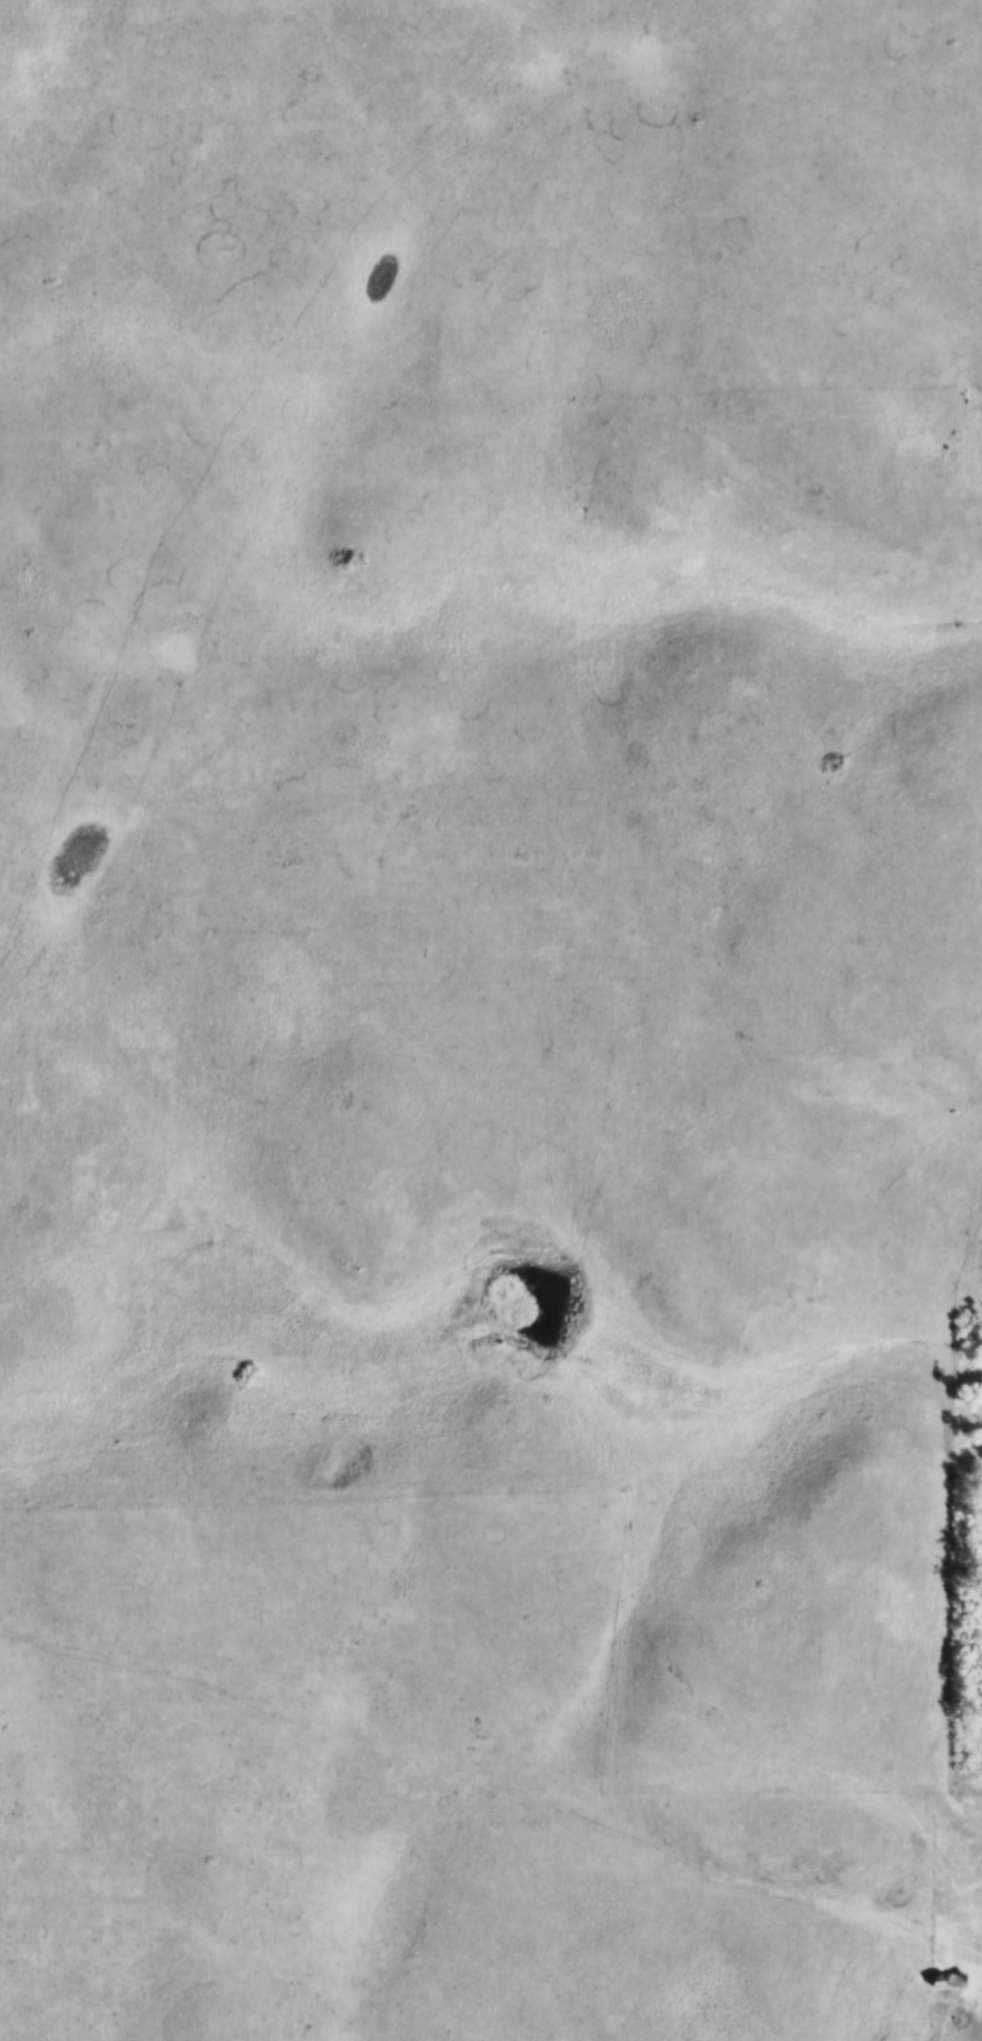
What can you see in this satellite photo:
building: (950, 1979)

